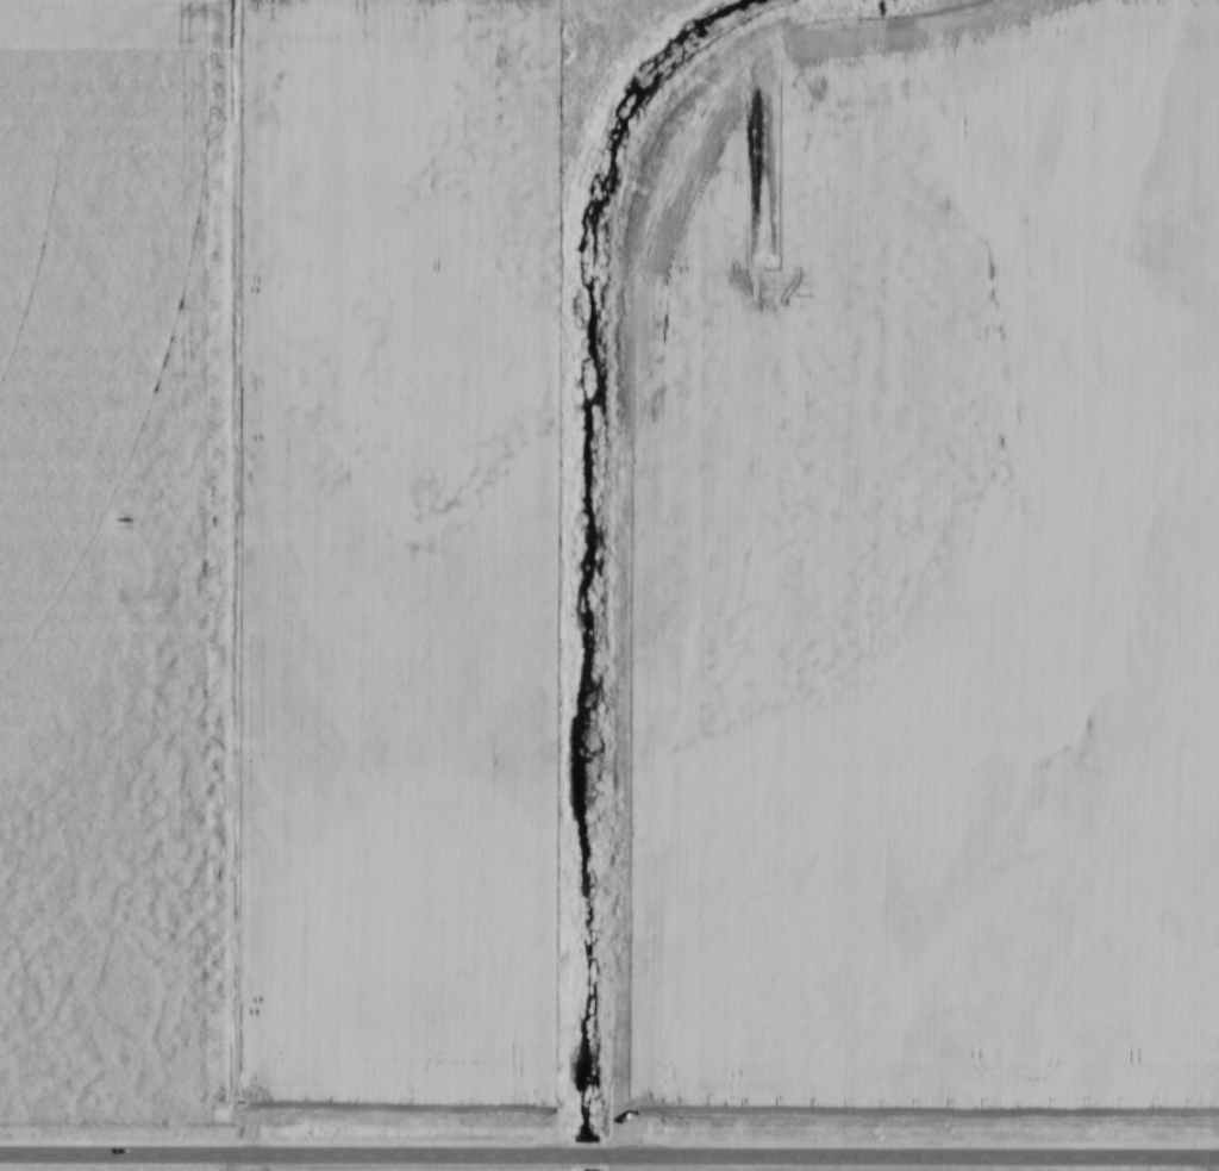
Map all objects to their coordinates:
road: (608, 1164)
road: (634, 1167)

